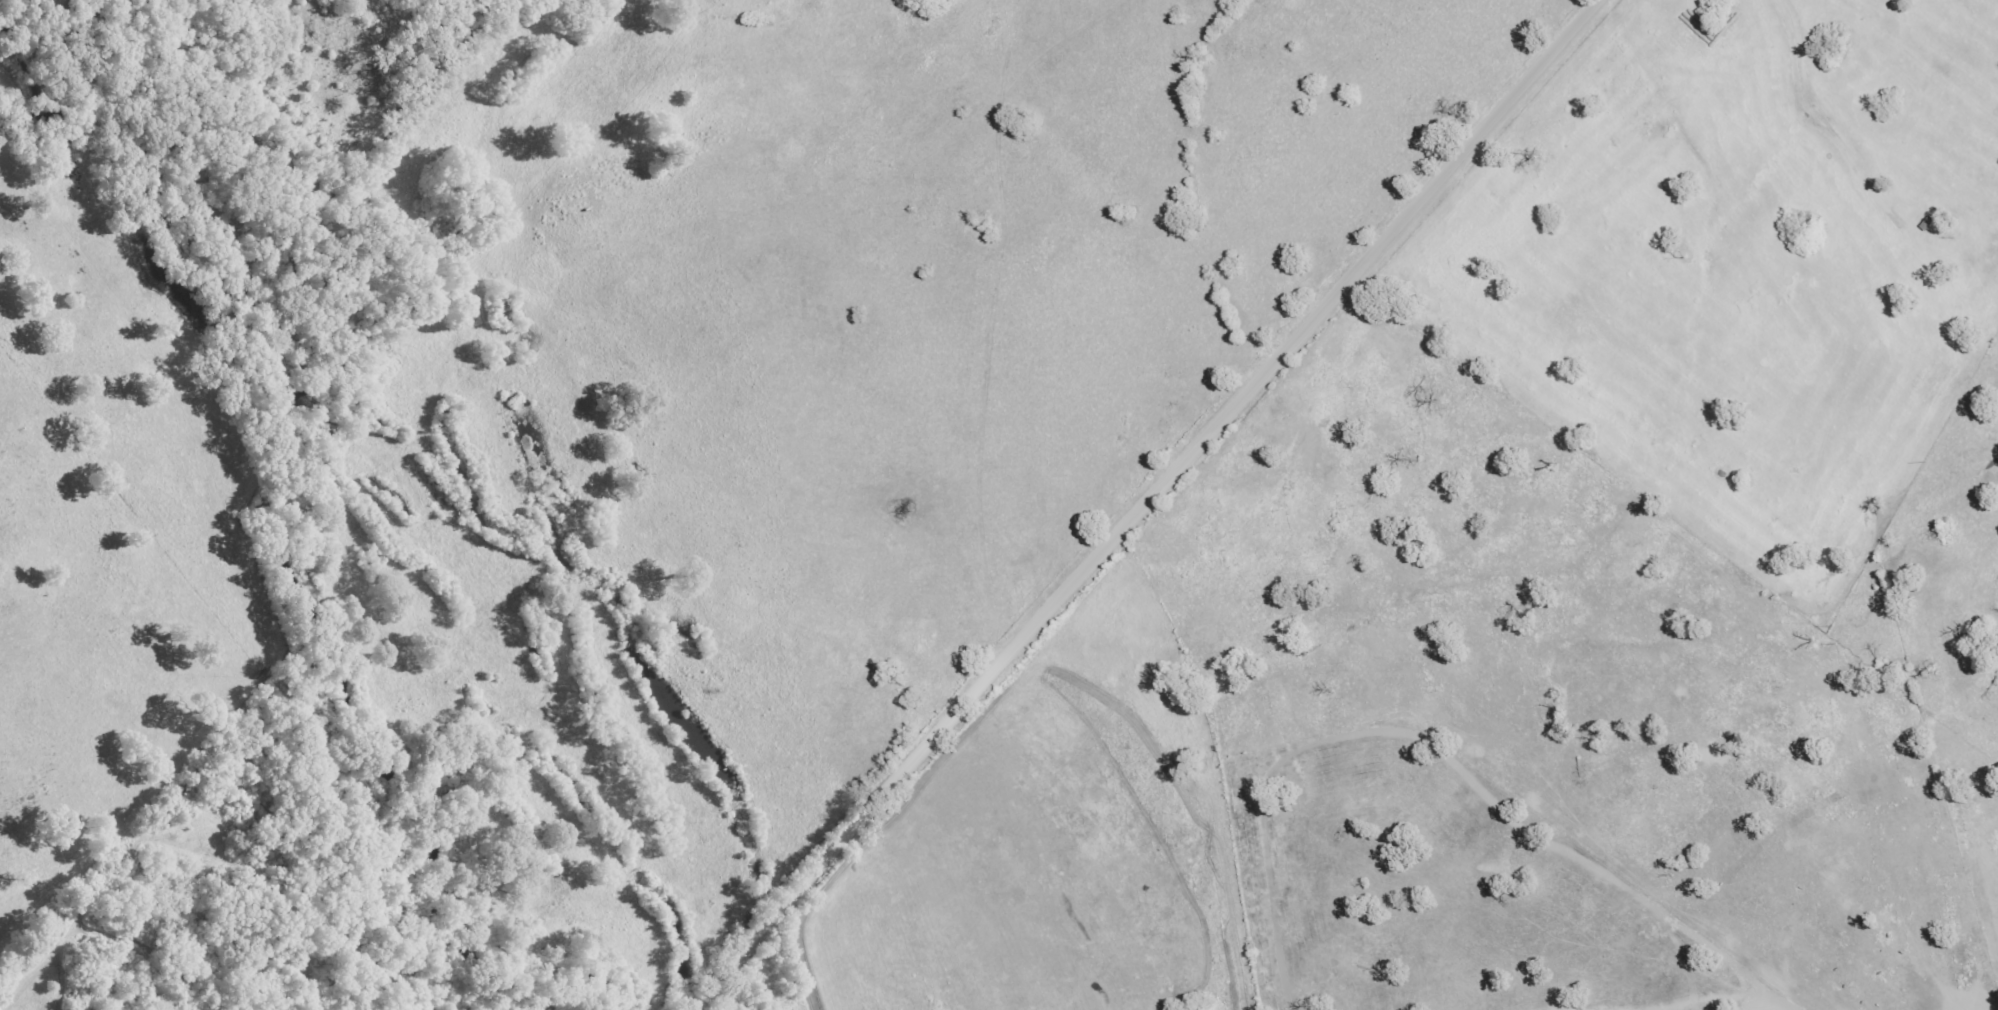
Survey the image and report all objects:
road: (1145, 504)

